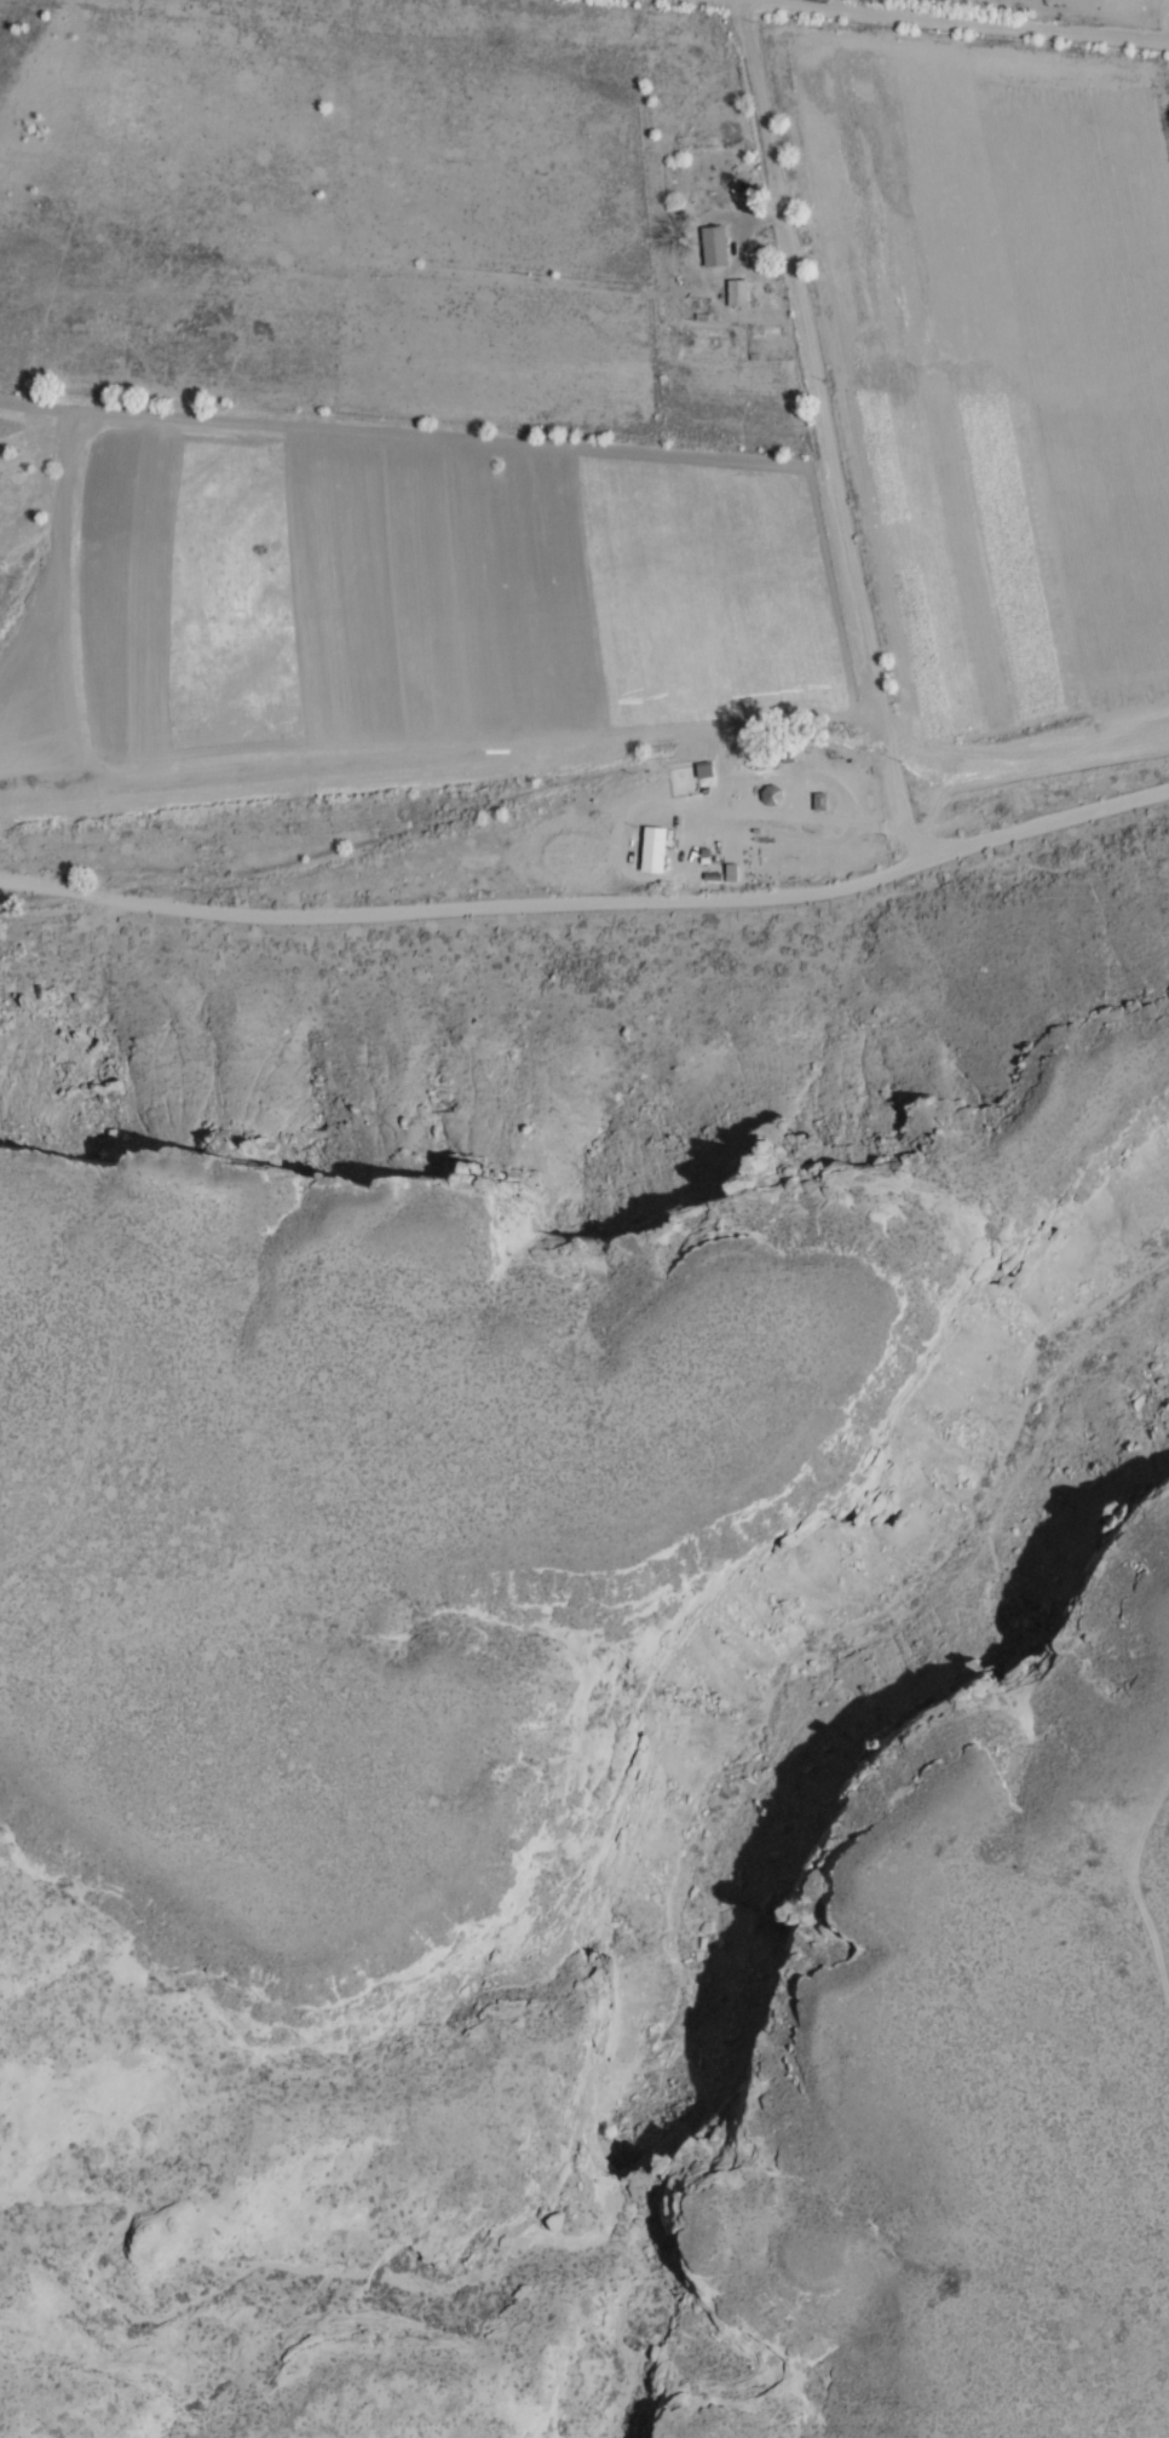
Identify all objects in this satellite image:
road: (743, 0)
road: (950, 21)
building: (715, 246)
building: (737, 293)
road: (830, 430)
building: (772, 795)
building: (820, 801)
building: (655, 850)
road: (591, 903)
river: (747, 1799)

